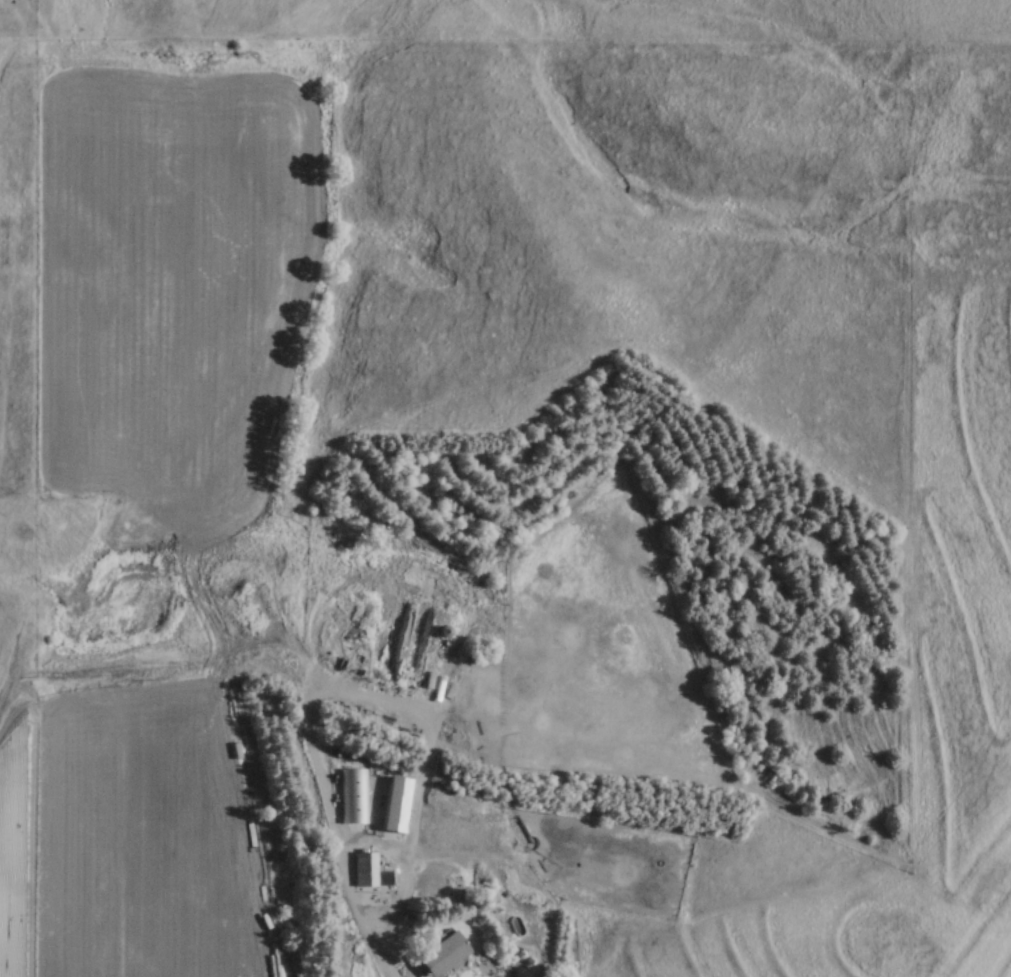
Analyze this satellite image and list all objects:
silo: (444, 631)
building: (353, 796)
building: (396, 803)
crop: (124, 837)
road: (358, 840)
building: (364, 869)
building: (442, 953)
road: (388, 961)

